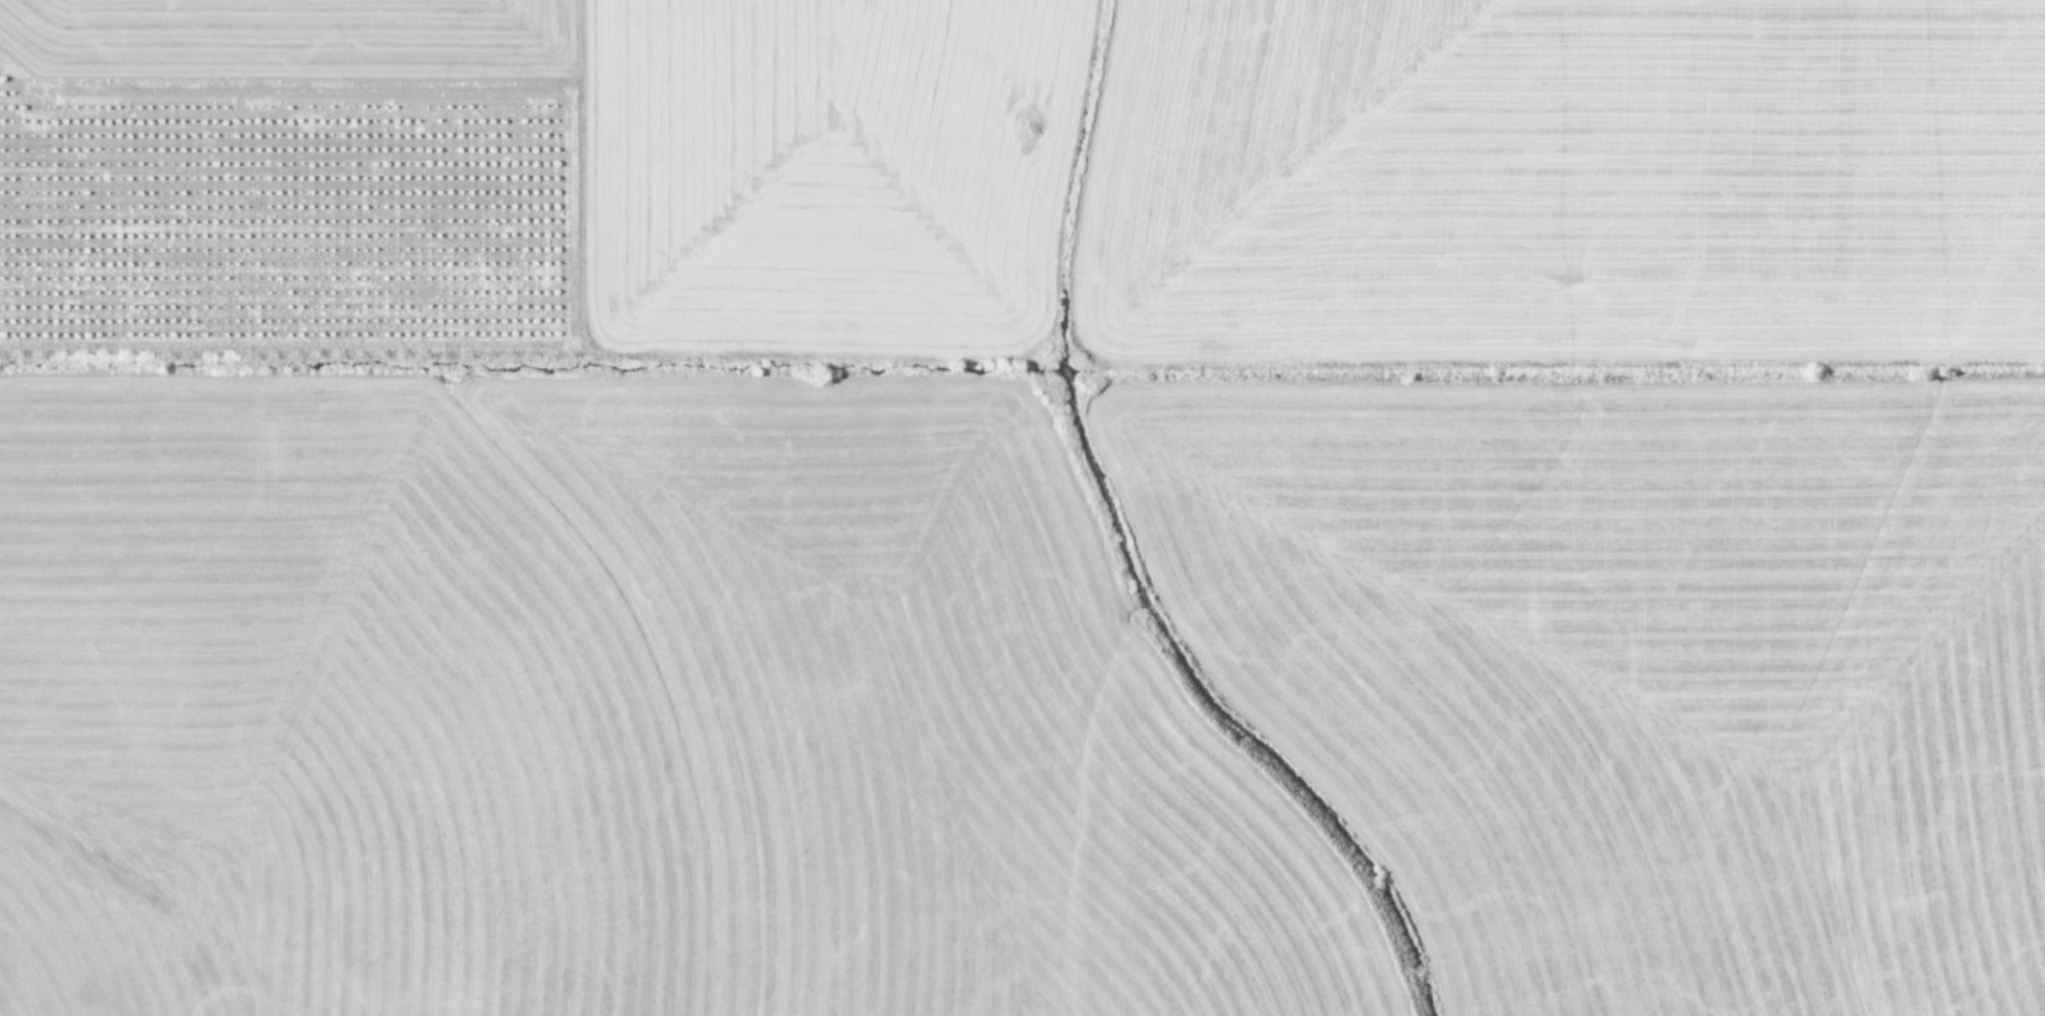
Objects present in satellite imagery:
crop: (1022, 508)

